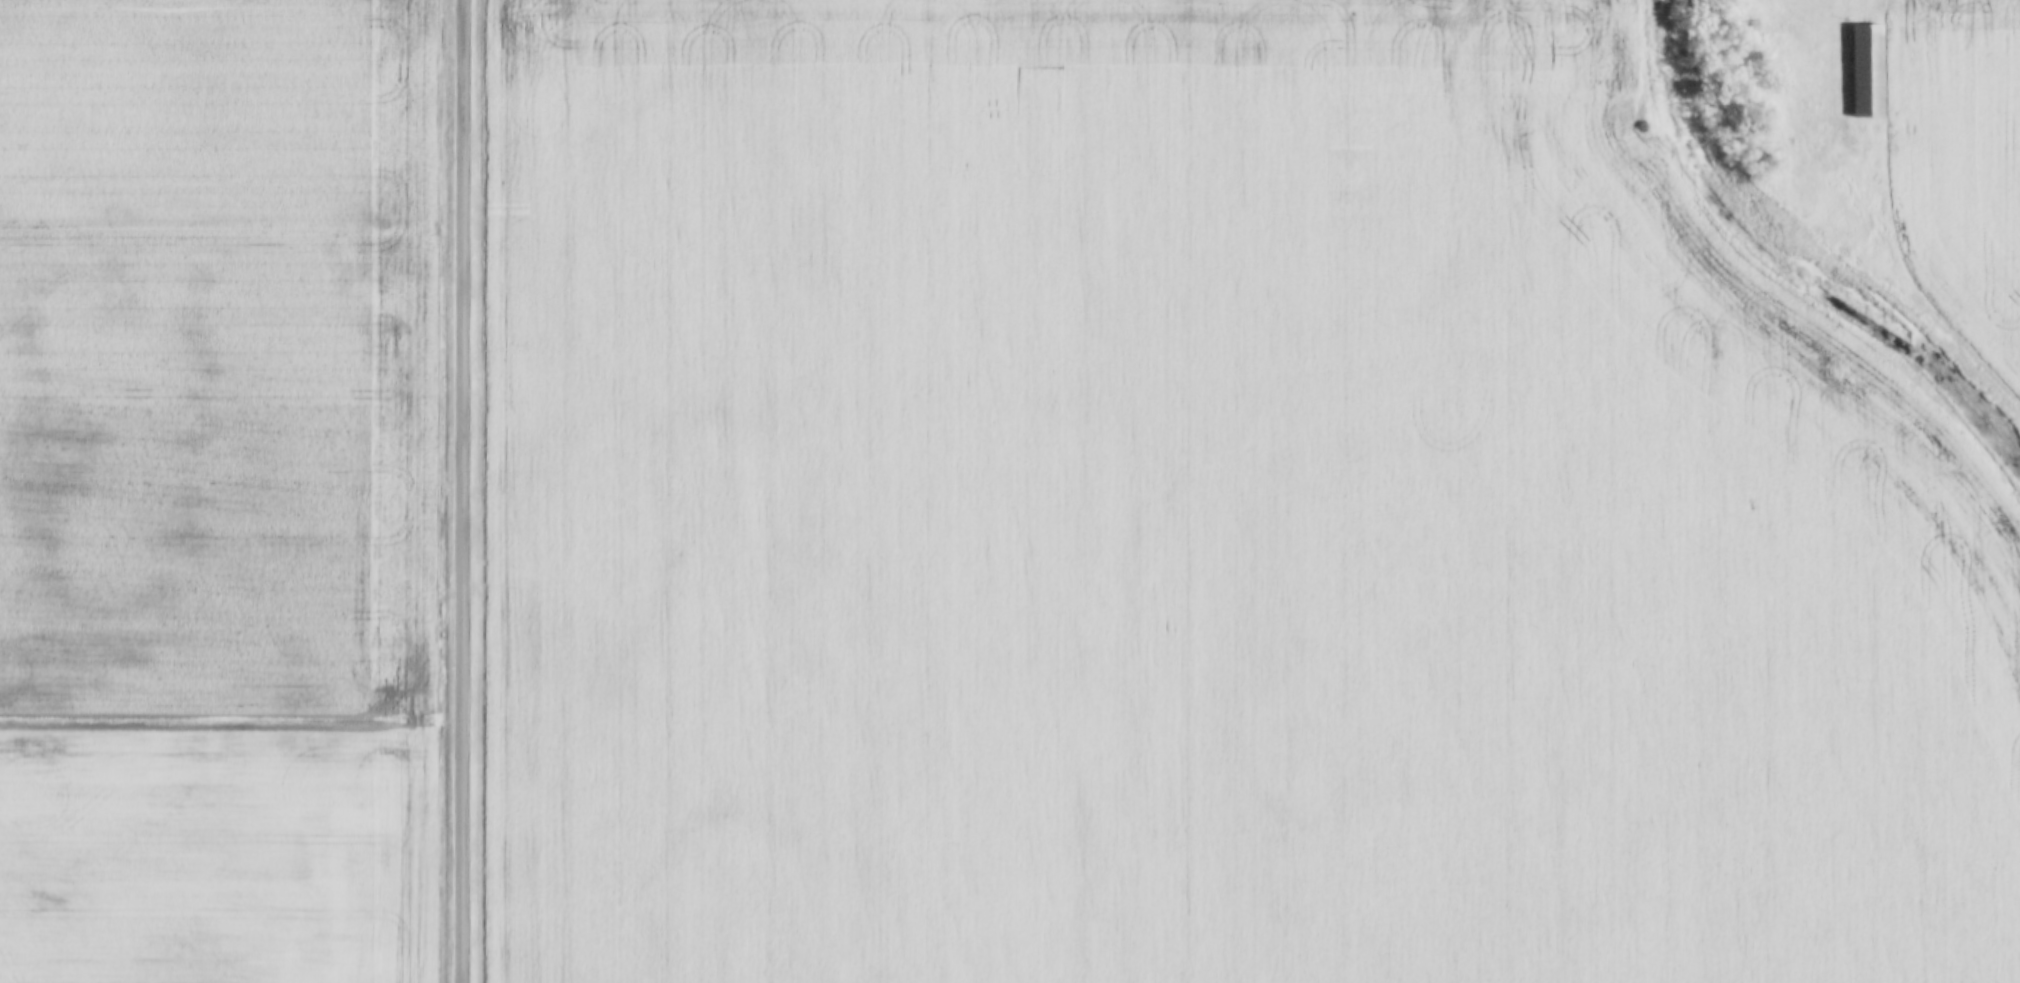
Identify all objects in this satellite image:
road: (460, 491)

